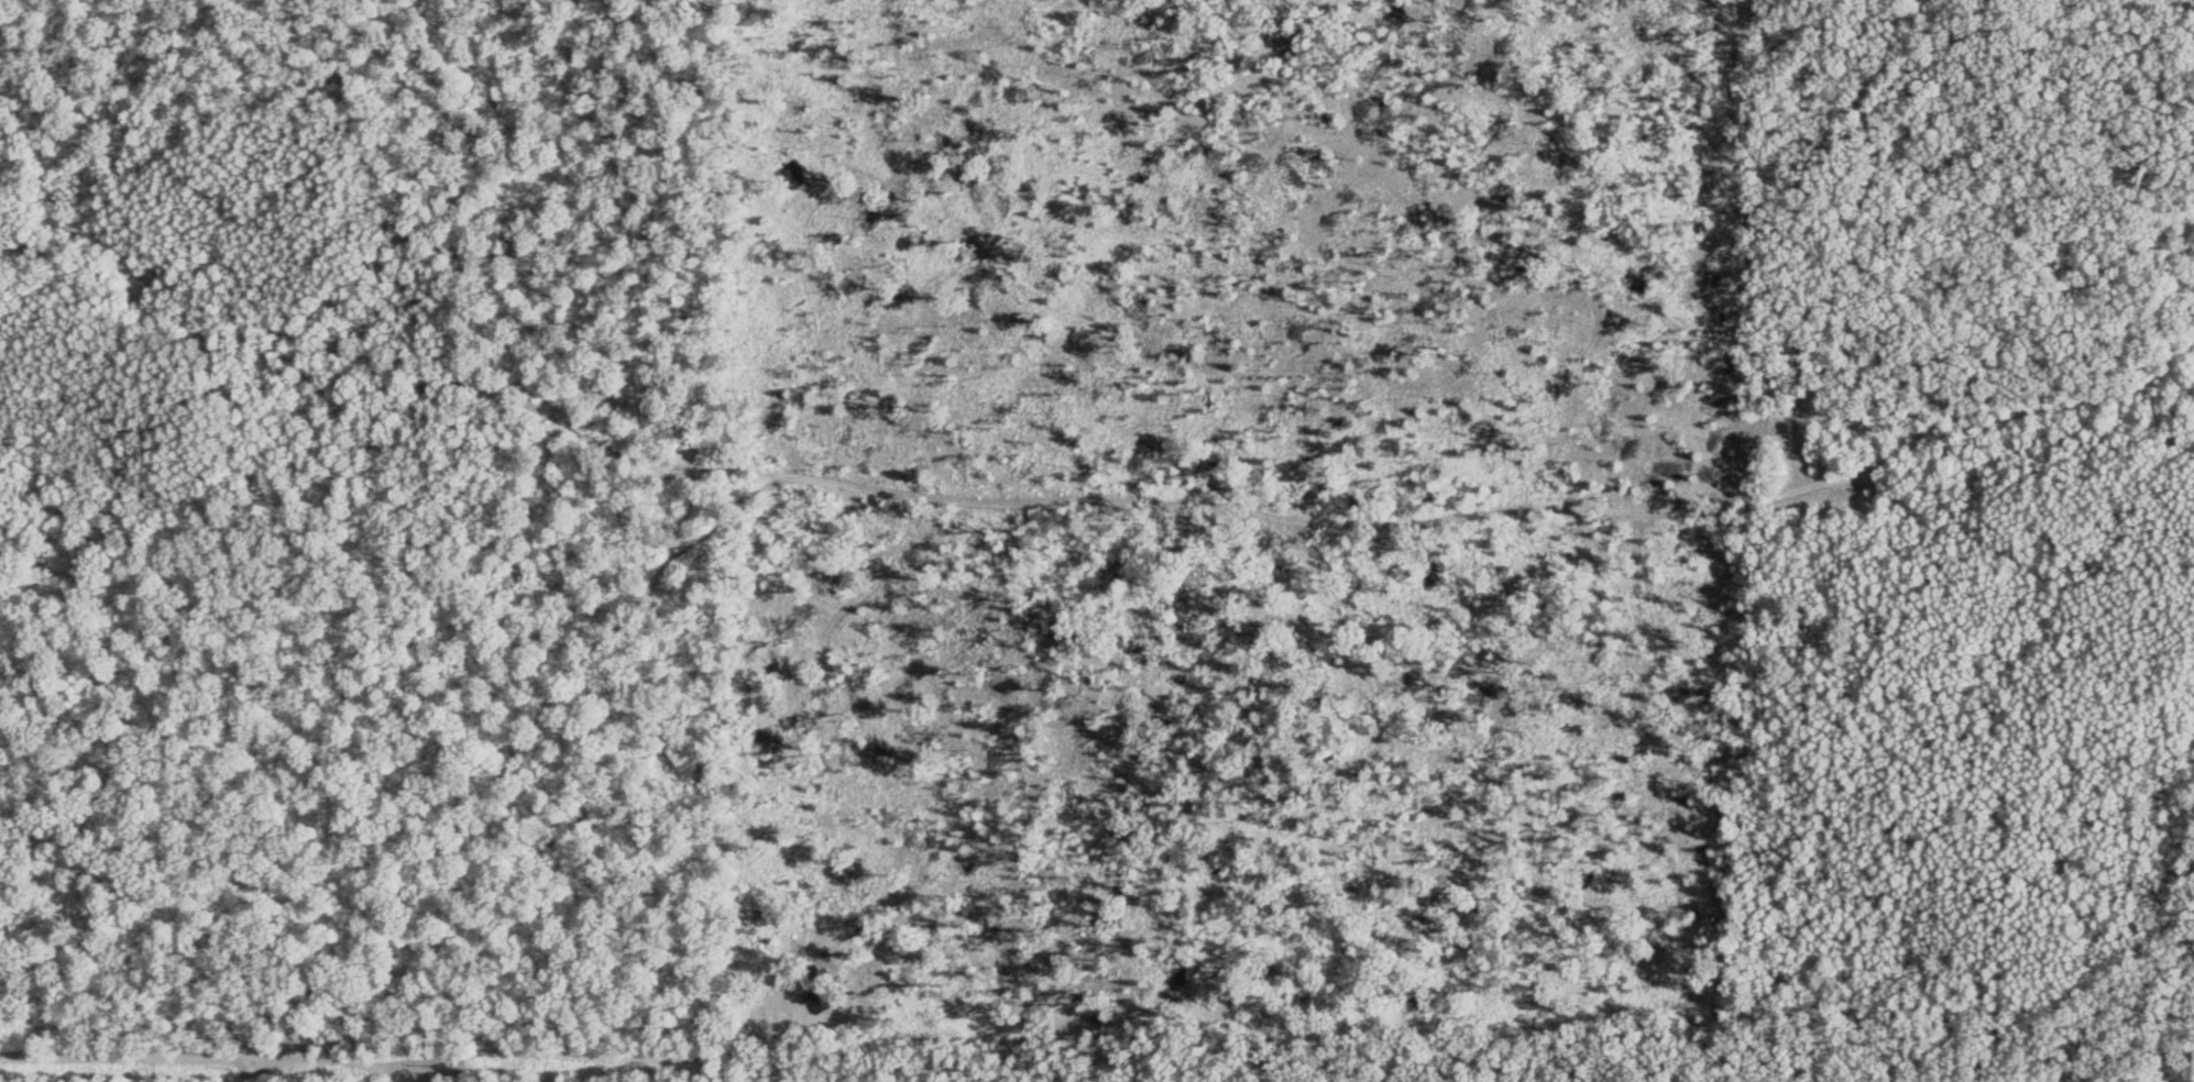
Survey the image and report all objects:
road: (175, 1050)

